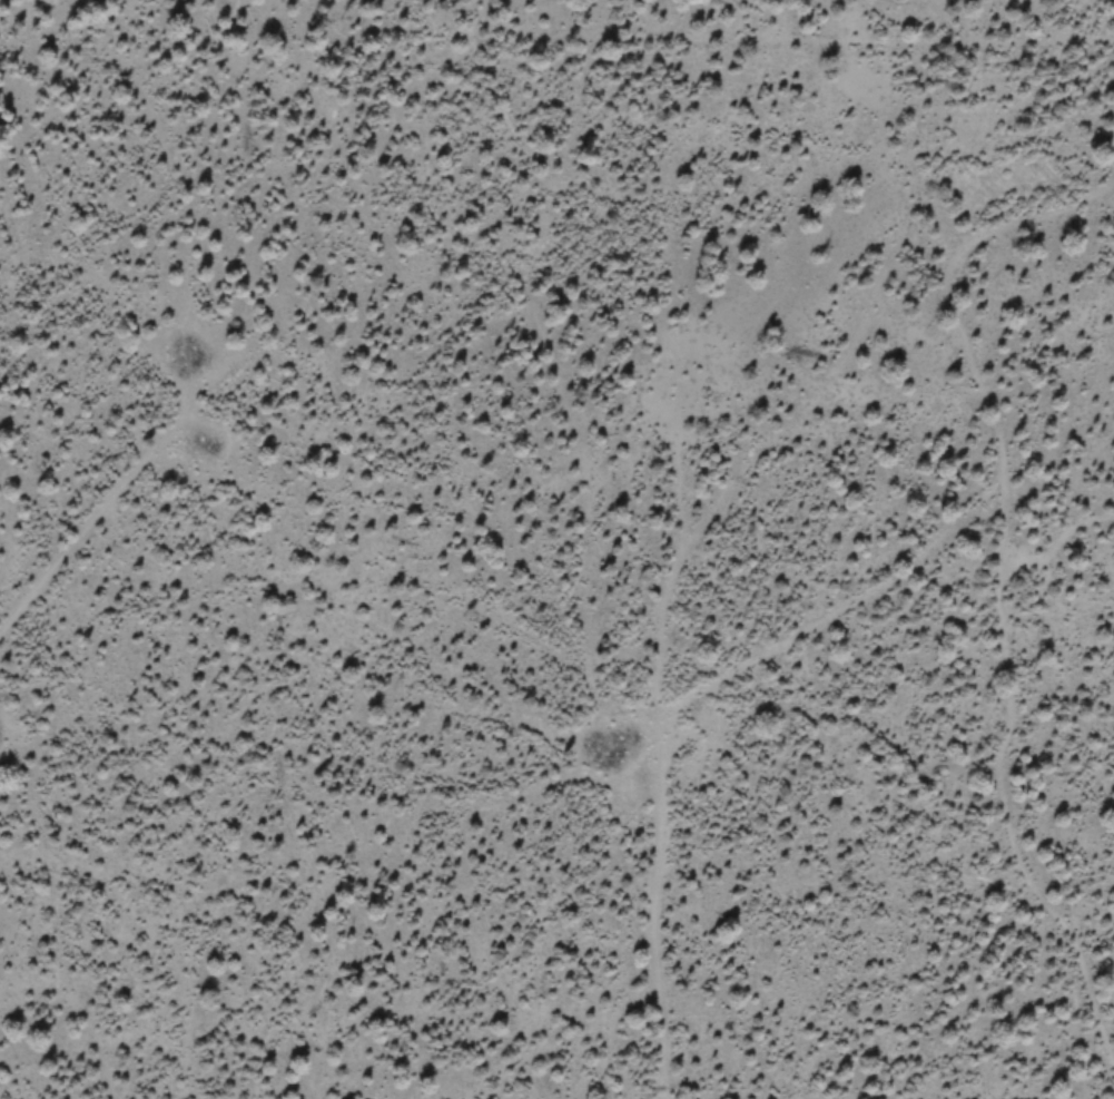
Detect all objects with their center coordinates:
road: (77, 548)
road: (1000, 573)
road: (676, 710)

